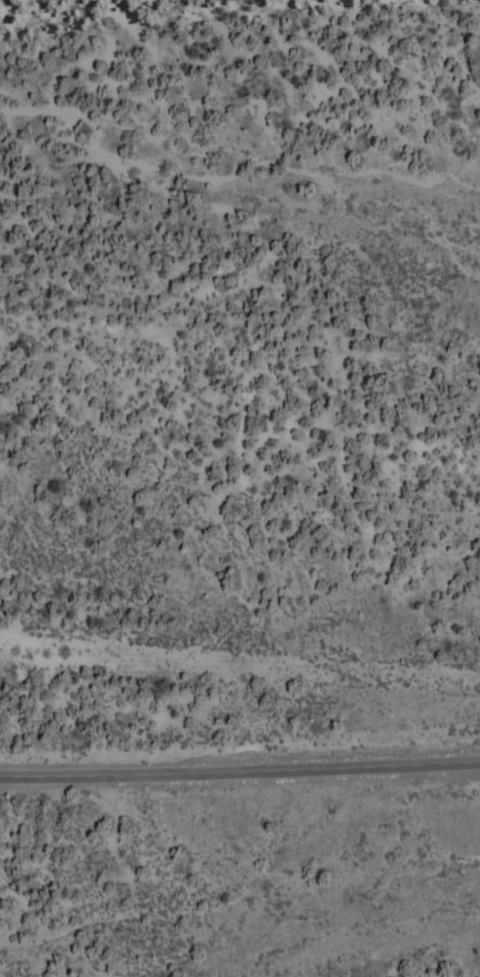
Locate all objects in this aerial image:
road: (240, 767)

